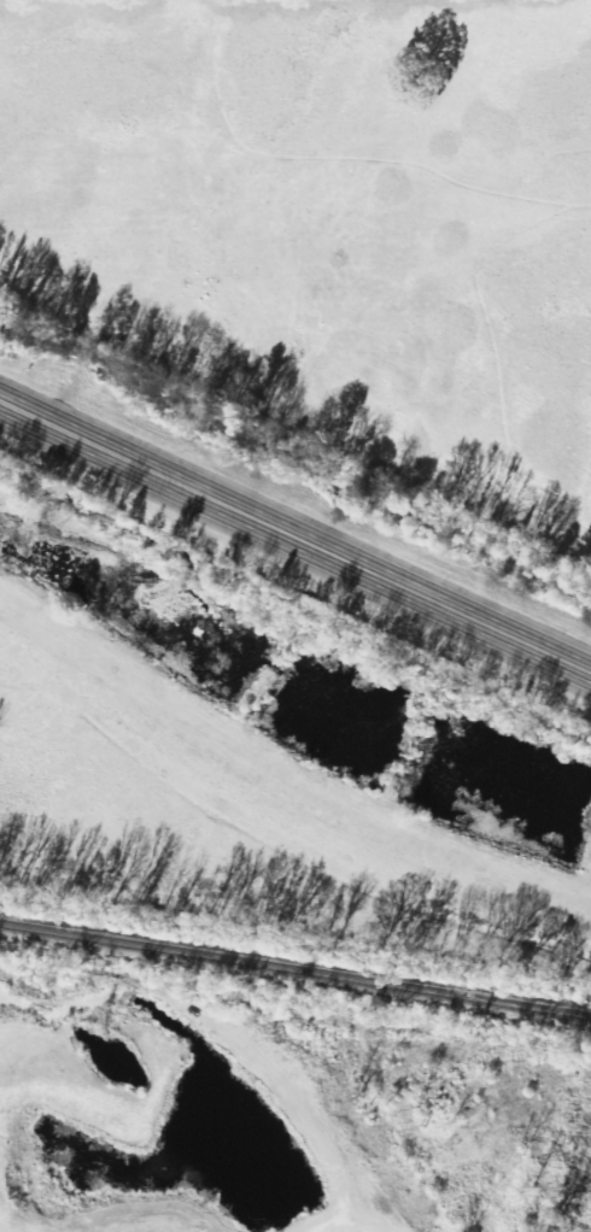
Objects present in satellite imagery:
road: (295, 538)
railway: (295, 969)

